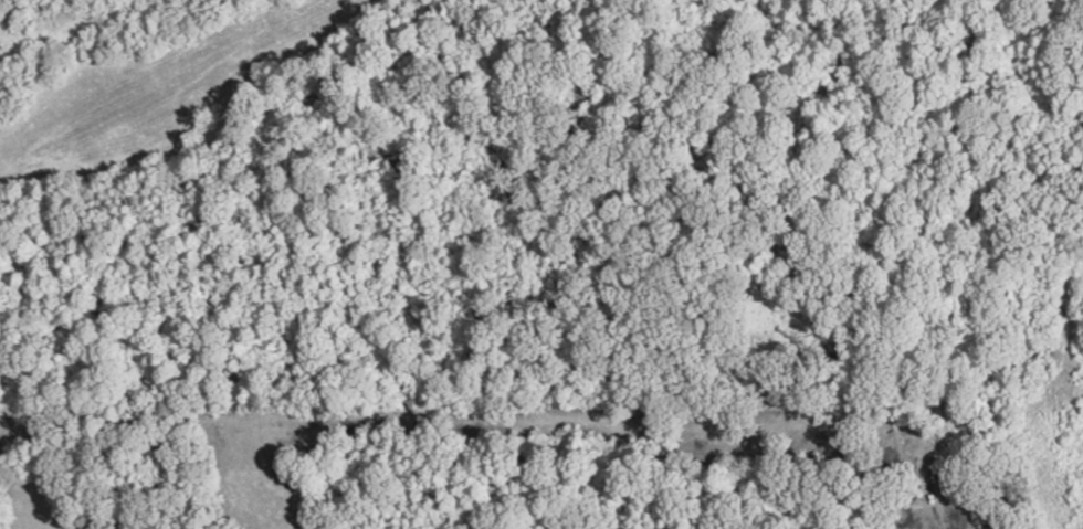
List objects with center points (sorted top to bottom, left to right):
road: (911, 412)

